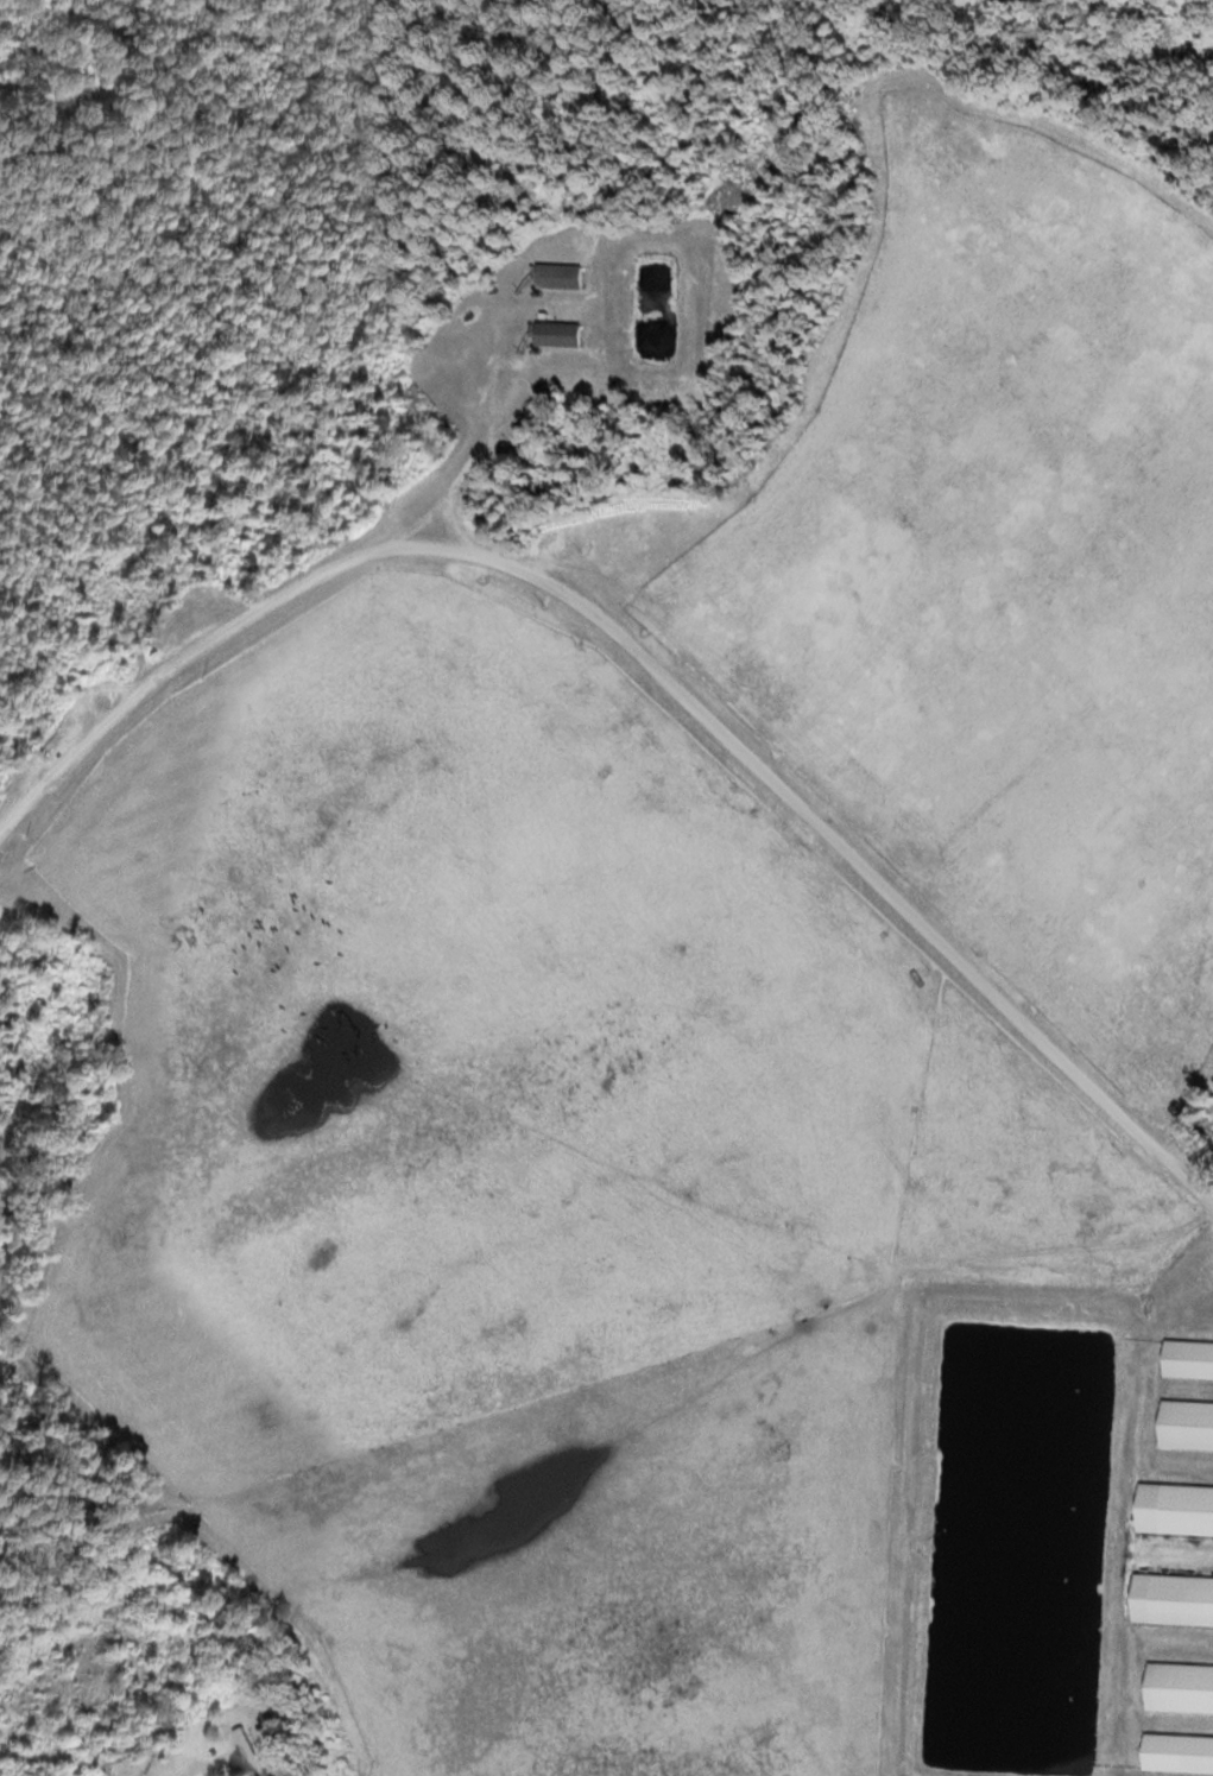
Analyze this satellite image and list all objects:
building: (562, 276)
building: (560, 333)
road: (643, 662)
building: (1188, 1359)
building: (1187, 1424)
building: (1184, 1509)
building: (1182, 1599)
building: (1180, 1687)
building: (1179, 1752)

